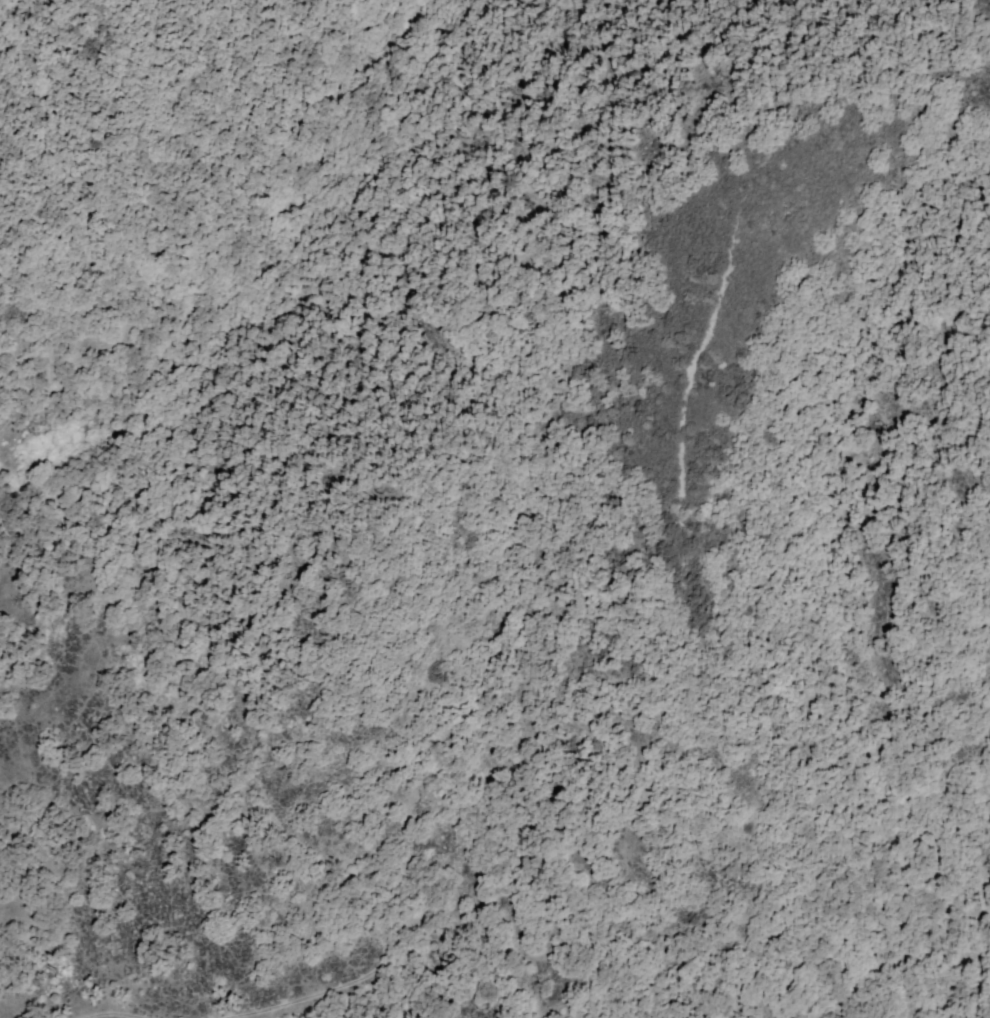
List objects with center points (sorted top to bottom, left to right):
road: (898, 984)
road: (698, 1015)

